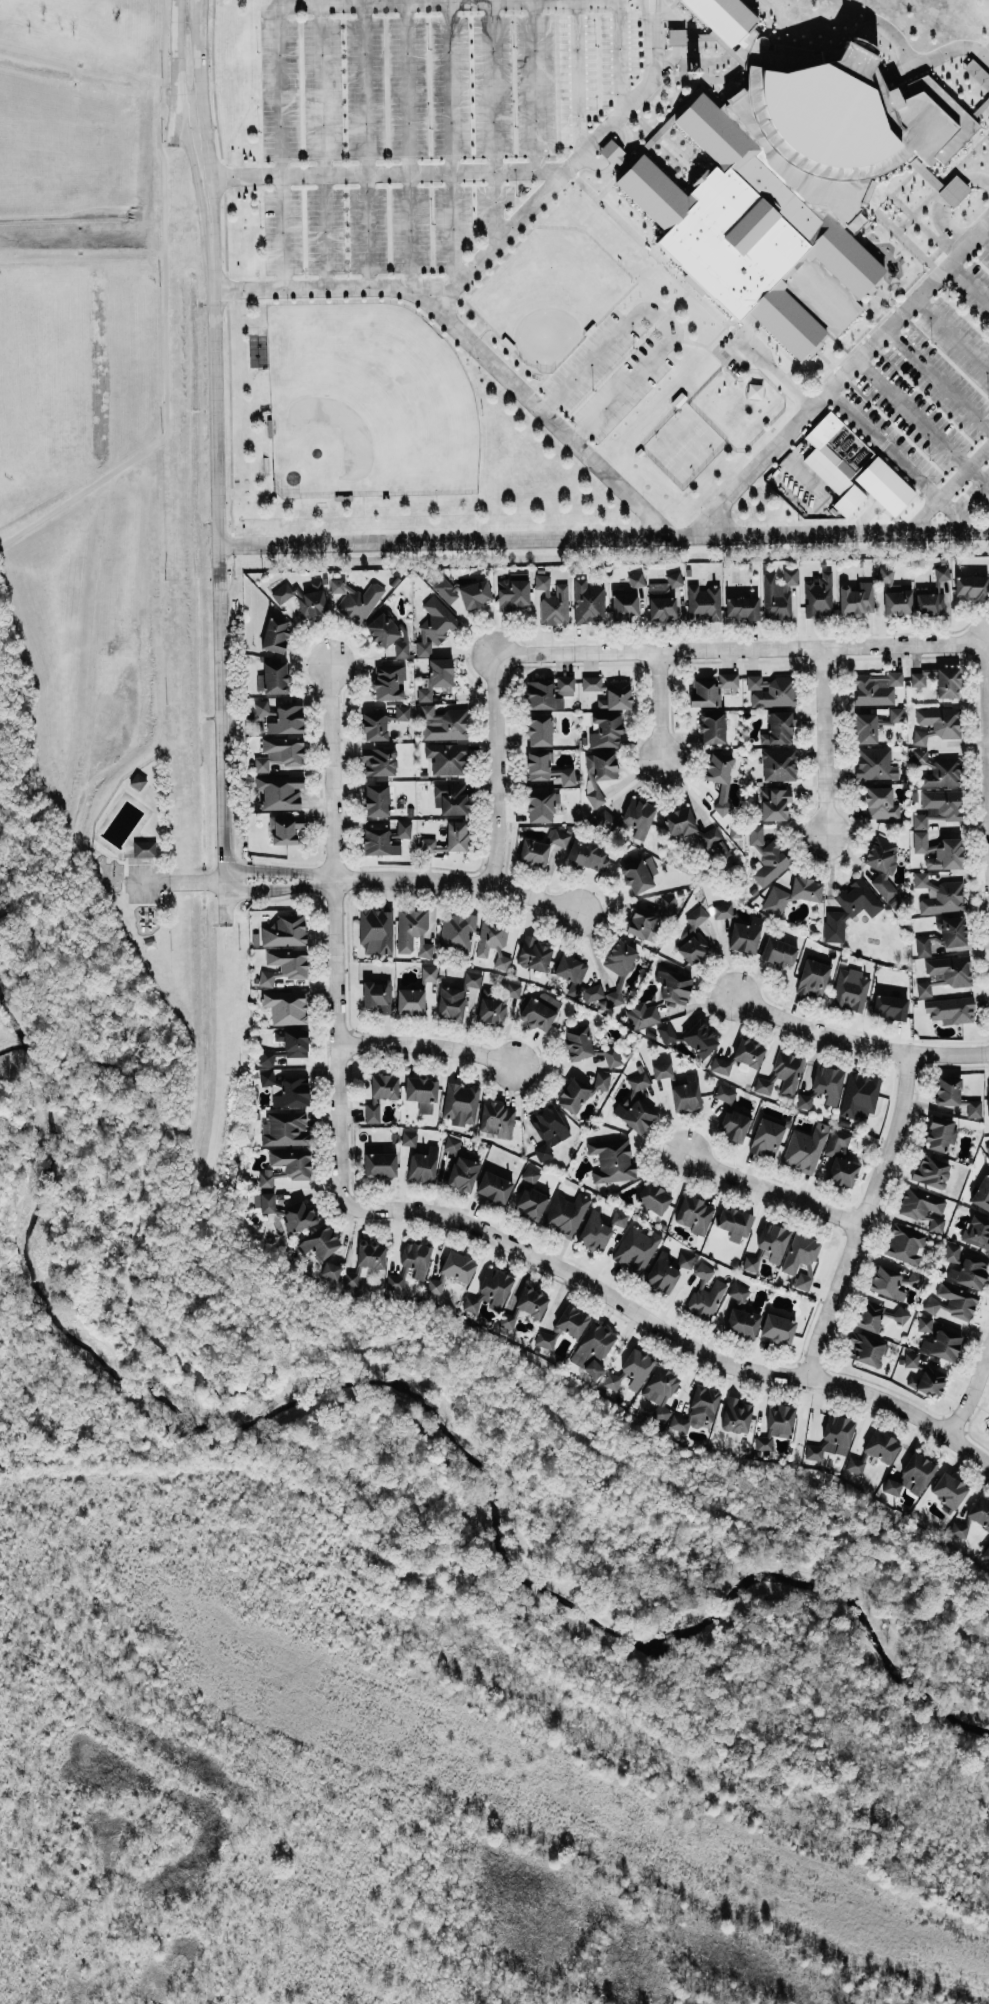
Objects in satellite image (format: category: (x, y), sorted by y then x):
road: (322, 5)
road: (647, 8)
road: (655, 8)
building: (723, 18)
building: (676, 36)
road: (621, 54)
road: (200, 56)
road: (174, 58)
road: (923, 60)
building: (977, 73)
road: (579, 76)
road: (535, 85)
road: (451, 86)
road: (492, 86)
road: (365, 88)
road: (407, 88)
road: (322, 90)
parking lot: (426, 128)
building: (613, 153)
road: (384, 172)
building: (954, 190)
road: (496, 205)
road: (453, 228)
road: (368, 230)
road: (325, 232)
road: (412, 232)
road: (283, 233)
road: (982, 233)
building: (728, 240)
road: (486, 252)
road: (967, 281)
road: (164, 316)
road: (659, 320)
road: (951, 332)
road: (844, 373)
road: (937, 376)
parking lot: (933, 382)
park: (365, 402)
road: (550, 421)
road: (923, 422)
road: (901, 462)
building: (853, 468)
road: (949, 489)
road: (220, 516)
road: (604, 537)
building: (971, 586)
building: (445, 588)
building: (475, 593)
building: (512, 593)
building: (933, 593)
building: (778, 594)
building: (895, 594)
building: (819, 595)
building: (304, 598)
building: (855, 598)
building: (627, 599)
building: (664, 599)
building: (354, 600)
building: (553, 600)
building: (703, 601)
building: (588, 602)
building: (742, 608)
building: (434, 625)
building: (275, 634)
building: (388, 634)
road: (738, 648)
road: (986, 654)
building: (273, 676)
building: (436, 678)
building: (728, 679)
building: (938, 680)
building: (389, 681)
building: (876, 688)
building: (771, 690)
building: (704, 691)
building: (549, 692)
building: (609, 692)
road: (657, 704)
building: (263, 708)
building: (403, 712)
building: (896, 714)
building: (288, 719)
building: (376, 723)
building: (443, 723)
building: (936, 724)
building: (712, 727)
building: (866, 727)
building: (778, 728)
building: (539, 729)
building: (605, 730)
road: (824, 741)
building: (280, 752)
building: (447, 758)
building: (379, 761)
building: (875, 763)
building: (779, 764)
building: (548, 769)
building: (937, 769)
road: (495, 770)
building: (599, 773)
building: (720, 776)
building: (137, 780)
building: (280, 791)
building: (451, 797)
building: (377, 799)
building: (881, 802)
building: (774, 803)
building: (542, 804)
building: (937, 807)
building: (639, 815)
building: (680, 821)
building: (285, 828)
building: (404, 829)
building: (457, 835)
building: (711, 835)
building: (557, 837)
building: (379, 842)
building: (431, 845)
building: (144, 848)
building: (938, 851)
building: (533, 852)
building: (587, 855)
building: (766, 856)
building: (882, 864)
road: (280, 870)
building: (639, 873)
road: (174, 880)
road: (461, 880)
road: (280, 886)
building: (792, 894)
building: (939, 894)
building: (667, 904)
road: (19, 907)
building: (849, 908)
building: (723, 910)
building: (696, 916)
road: (2, 918)
building: (640, 922)
building: (376, 929)
building: (285, 930)
building: (457, 931)
building: (413, 932)
building: (949, 932)
road: (335, 933)
building: (745, 935)
building: (493, 942)
building: (922, 946)
building: (692, 947)
building: (779, 951)
building: (534, 954)
building: (284, 965)
building: (571, 972)
building: (429, 973)
building: (944, 973)
building: (813, 978)
building: (472, 979)
building: (674, 986)
building: (850, 989)
building: (592, 992)
building: (378, 994)
building: (410, 1001)
building: (450, 1002)
building: (496, 1004)
building: (287, 1006)
building: (890, 1006)
building: (952, 1009)
building: (540, 1011)
building: (642, 1015)
road: (815, 1031)
building: (666, 1032)
building: (700, 1038)
building: (578, 1042)
building: (287, 1045)
road: (428, 1045)
building: (749, 1052)
road: (947, 1054)
building: (612, 1057)
building: (720, 1065)
building: (662, 1069)
building: (781, 1075)
building: (266, 1077)
building: (601, 1080)
building: (823, 1086)
building: (948, 1090)
building: (292, 1092)
building: (421, 1092)
building: (380, 1093)
building: (686, 1093)
building: (725, 1093)
building: (573, 1095)
building: (859, 1095)
building: (988, 1100)
building: (461, 1103)
building: (635, 1105)
building: (974, 1108)
building: (496, 1119)
building: (733, 1125)
building: (286, 1129)
building: (547, 1130)
building: (940, 1133)
building: (766, 1137)
building: (409, 1138)
building: (452, 1143)
building: (805, 1147)
building: (987, 1148)
building: (840, 1159)
building: (612, 1160)
building: (380, 1164)
building: (423, 1164)
building: (286, 1165)
building: (931, 1171)
building: (463, 1172)
building: (531, 1174)
building: (494, 1186)
road: (769, 1191)
building: (982, 1193)
building: (653, 1197)
building: (264, 1201)
building: (531, 1203)
building: (923, 1207)
building: (566, 1214)
building: (694, 1214)
road: (861, 1215)
building: (299, 1216)
building: (619, 1217)
building: (734, 1223)
building: (594, 1230)
building: (977, 1231)
building: (773, 1241)
building: (319, 1242)
building: (905, 1243)
building: (636, 1247)
building: (800, 1252)
building: (952, 1252)
building: (416, 1257)
building: (685, 1259)
building: (750, 1263)
building: (365, 1264)
building: (458, 1266)
building: (330, 1270)
building: (969, 1272)
building: (662, 1273)
building: (804, 1276)
building: (916, 1278)
building: (396, 1281)
building: (886, 1282)
building: (435, 1285)
building: (490, 1290)
building: (738, 1291)
building: (705, 1293)
building: (952, 1300)
building: (531, 1301)
building: (901, 1314)
building: (510, 1319)
building: (742, 1322)
building: (924, 1323)
building: (563, 1326)
building: (778, 1328)
road: (671, 1333)
building: (942, 1345)
road: (352, 1348)
building: (593, 1348)
building: (866, 1348)
building: (911, 1358)
building: (637, 1367)
building: (613, 1380)
building: (928, 1380)
road: (968, 1384)
building: (660, 1392)
river: (423, 1401)
road: (456, 1409)
building: (698, 1409)
building: (736, 1414)
building: (776, 1425)
building: (988, 1429)
building: (833, 1437)
road: (438, 1446)
building: (881, 1446)
building: (854, 1464)
building: (911, 1476)
building: (948, 1489)
building: (980, 1511)
building: (957, 1529)
building: (986, 1553)

